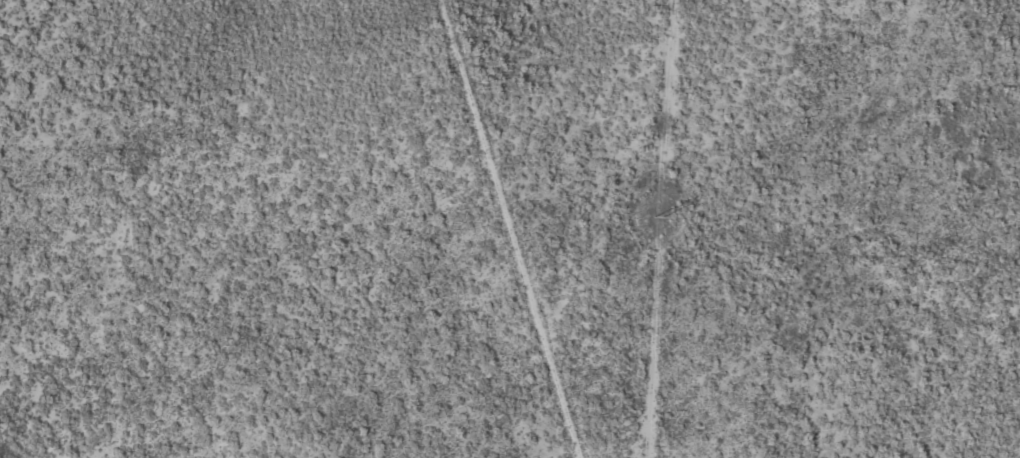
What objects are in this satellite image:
power tower: (658, 218)

